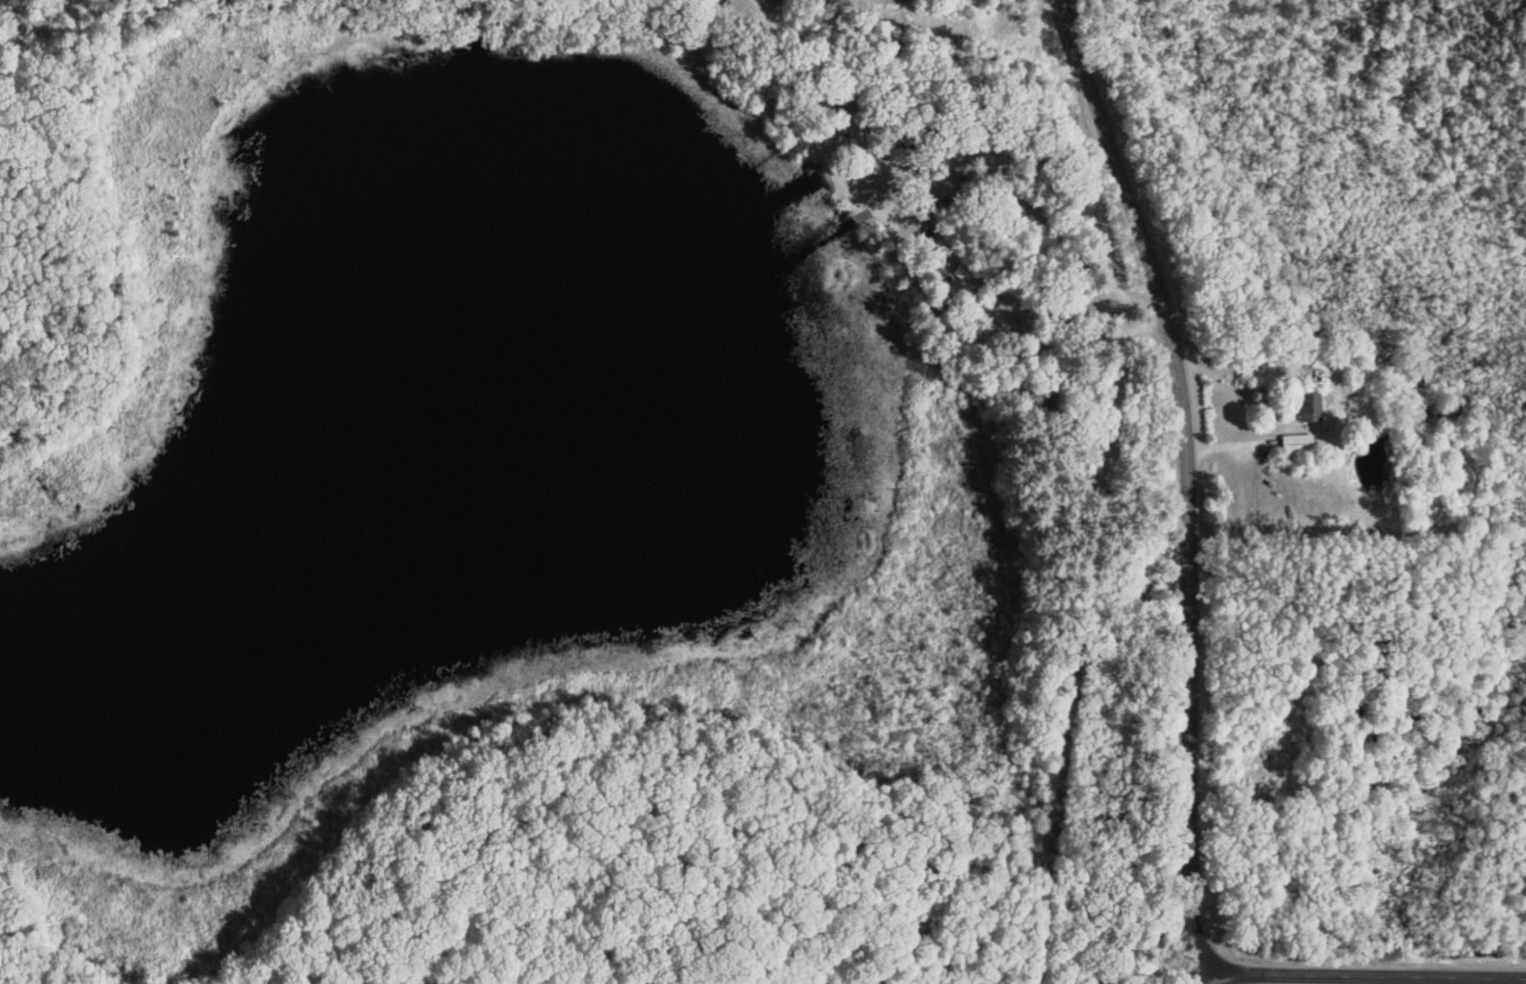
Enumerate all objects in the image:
building: (1306, 410)
building: (1292, 446)
road: (1185, 483)
road: (1360, 976)

